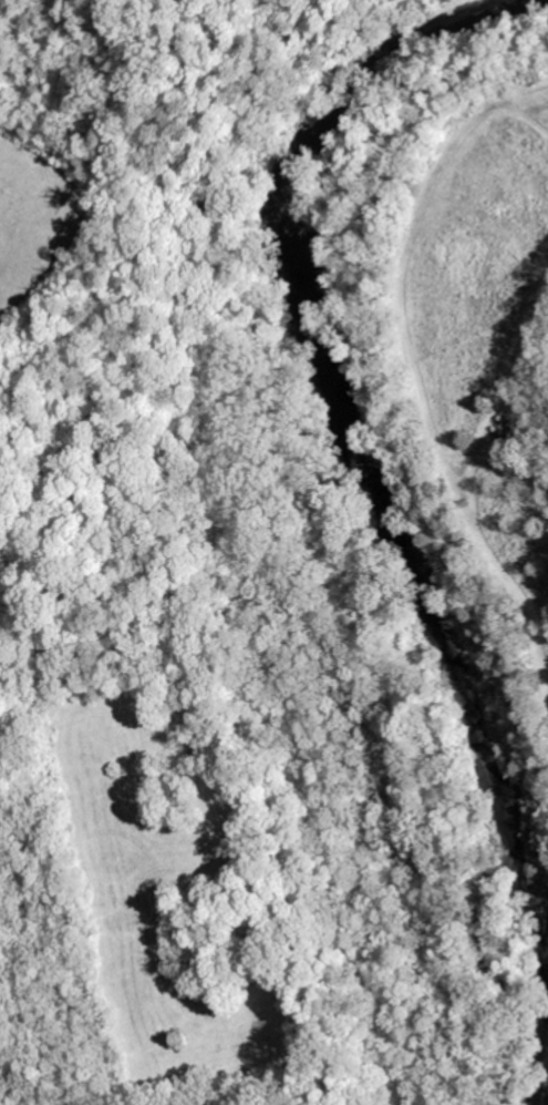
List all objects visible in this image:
river: (368, 489)

